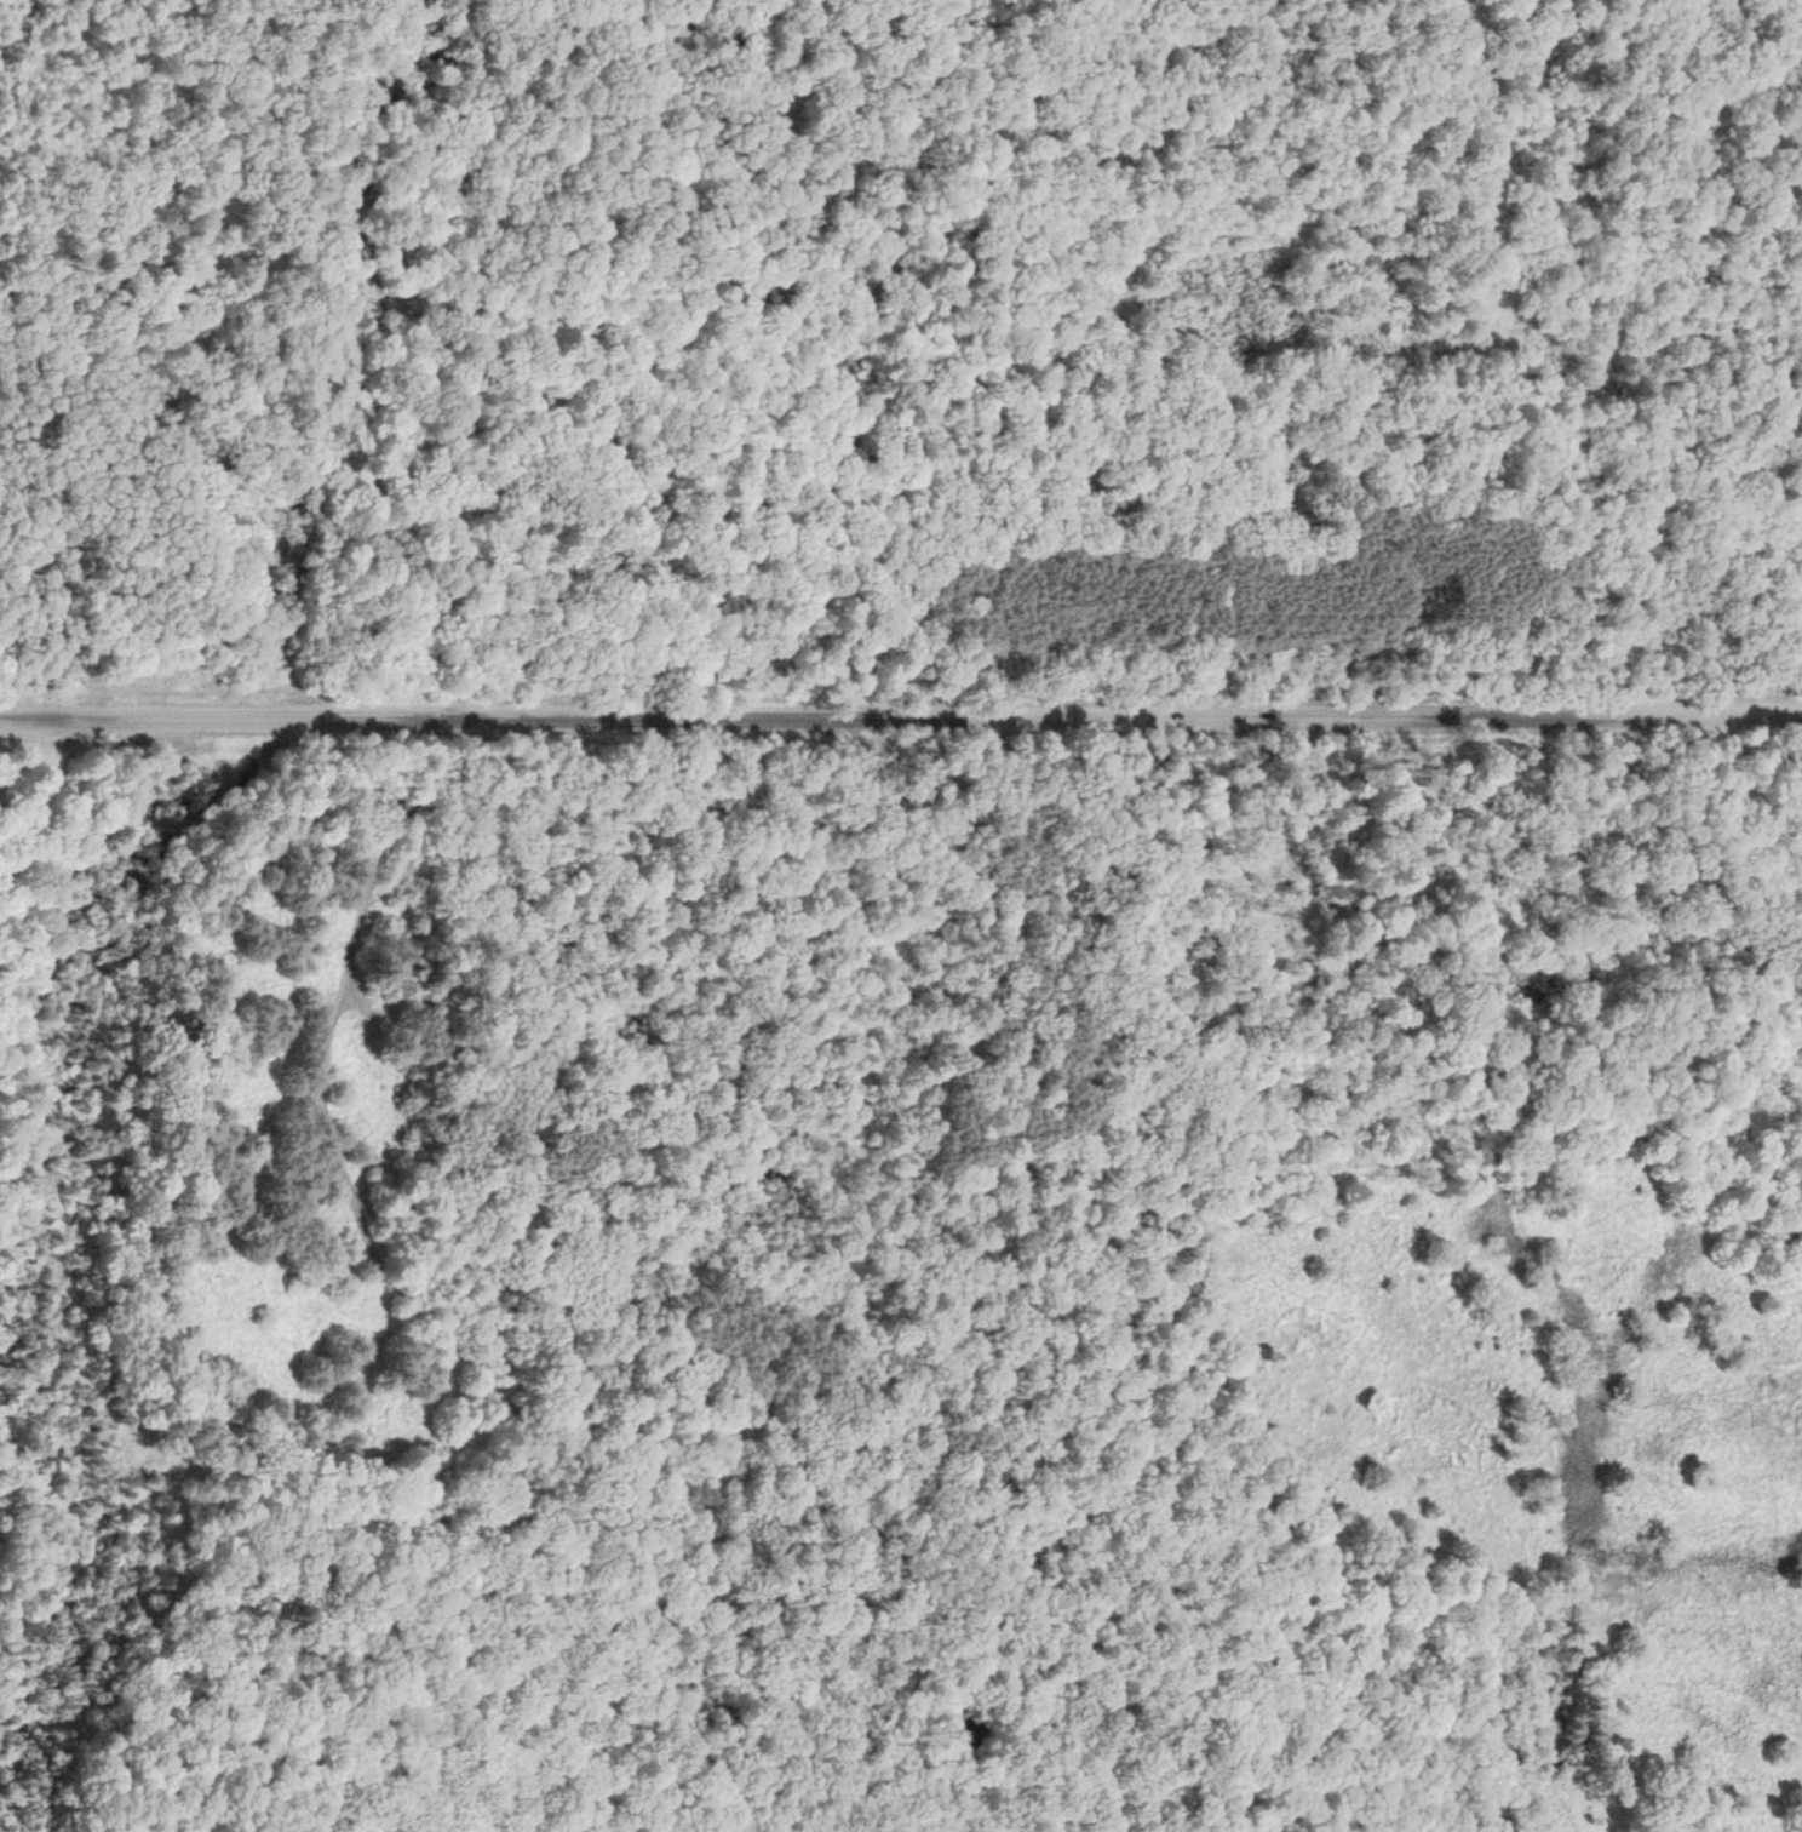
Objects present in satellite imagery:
road: (901, 720)
road: (426, 1366)

